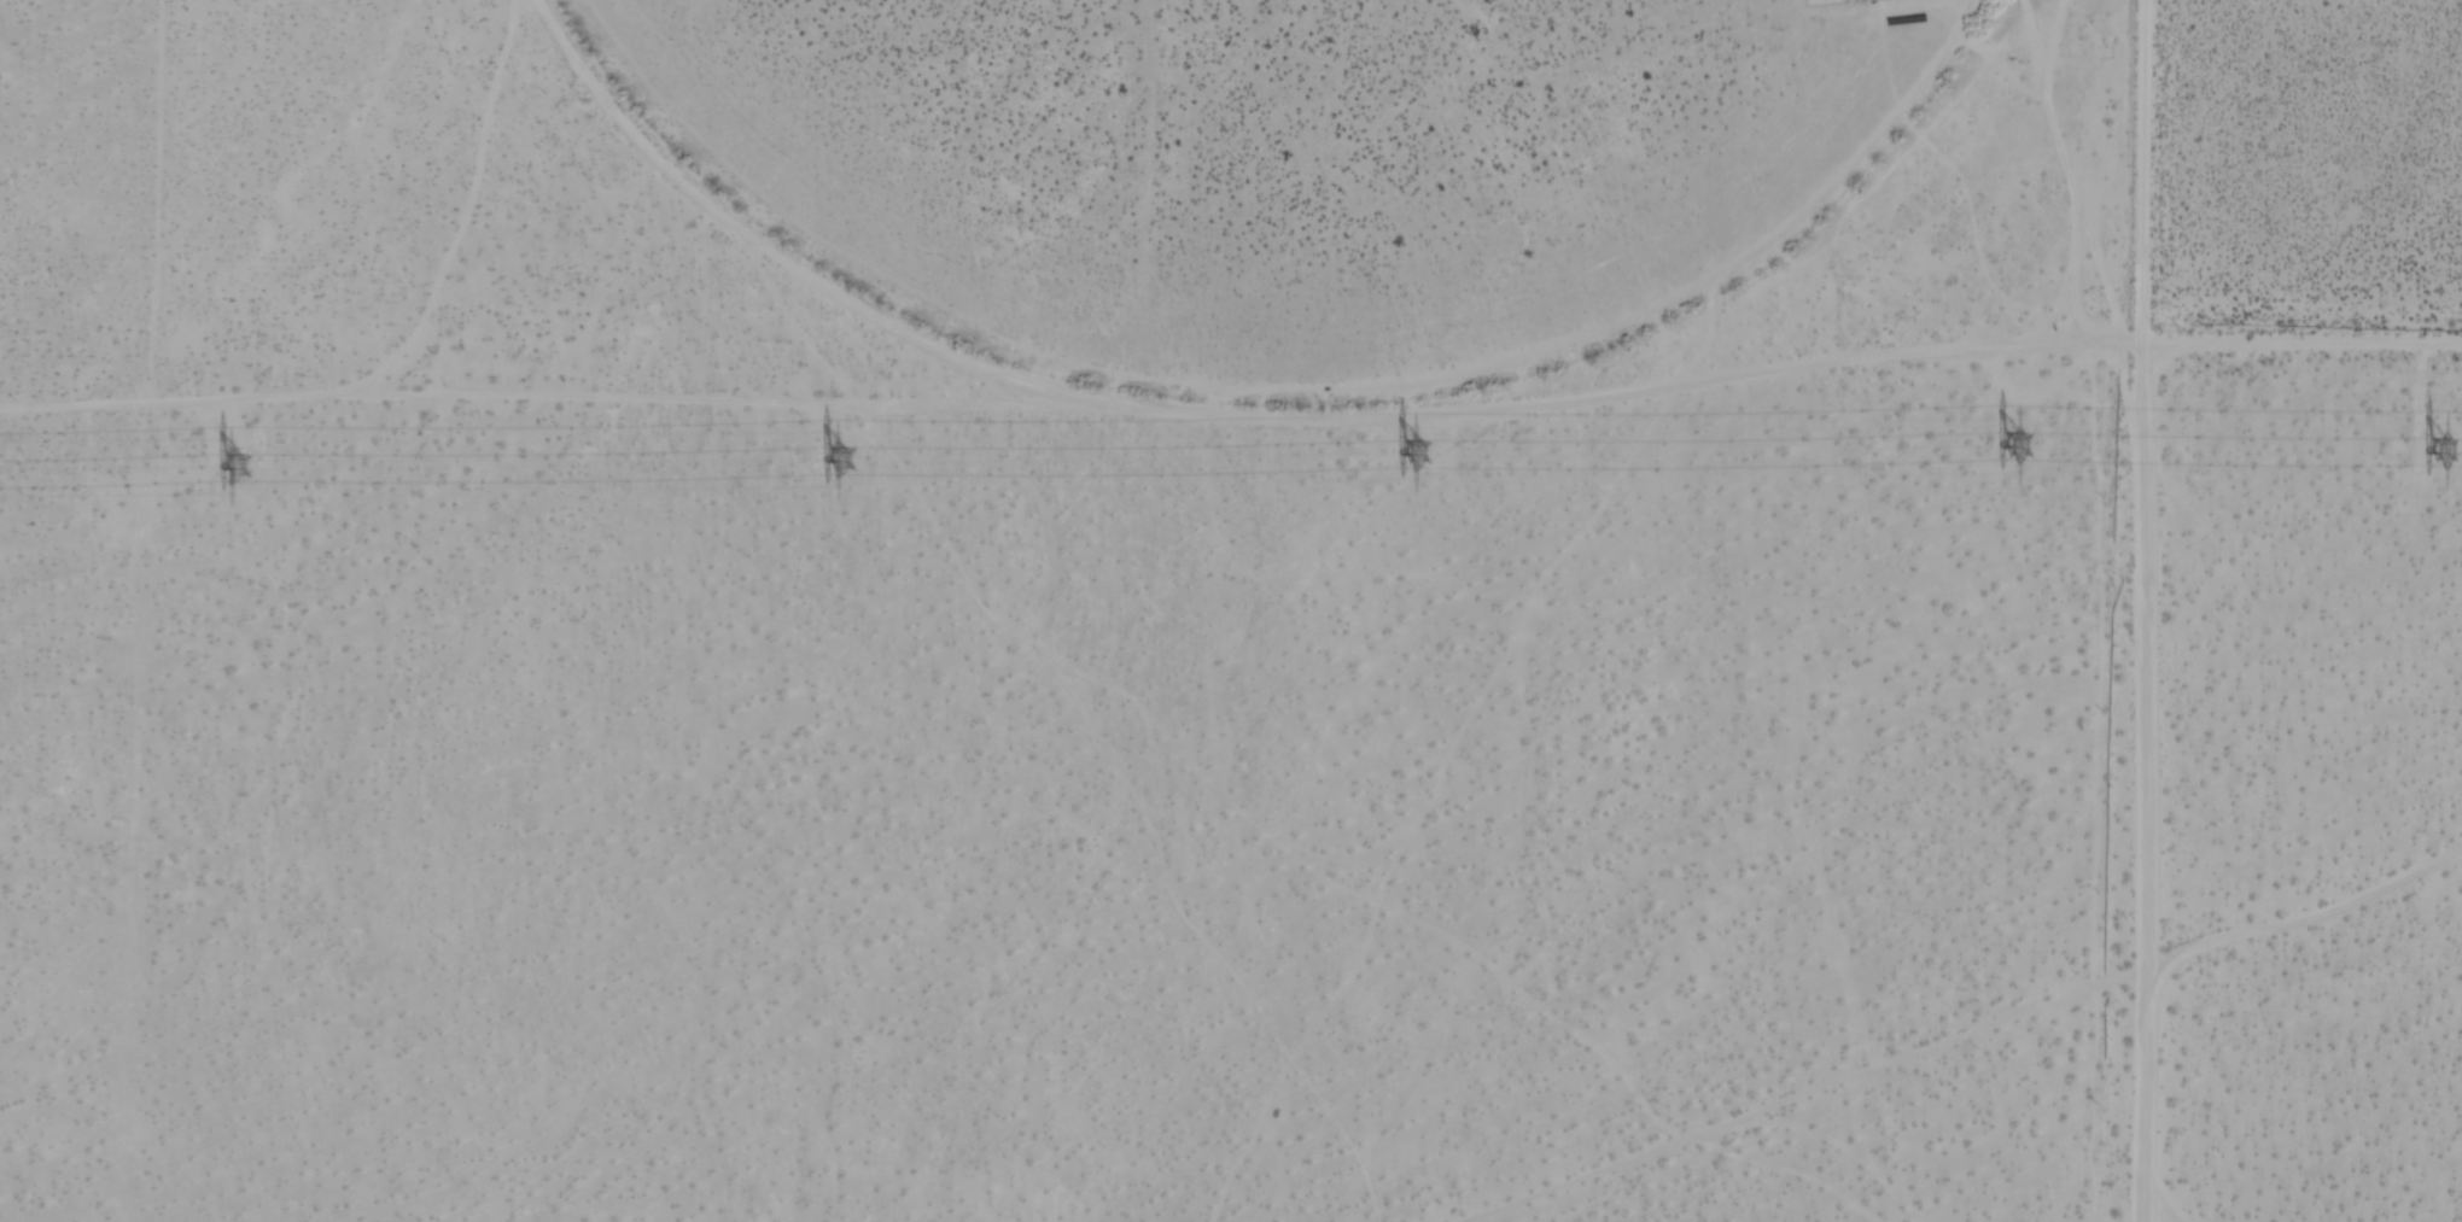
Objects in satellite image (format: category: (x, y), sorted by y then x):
power tower: (2021, 442)
power tower: (1419, 452)
power tower: (2452, 452)
power tower: (243, 458)
power tower: (844, 462)
road: (2106, 610)

